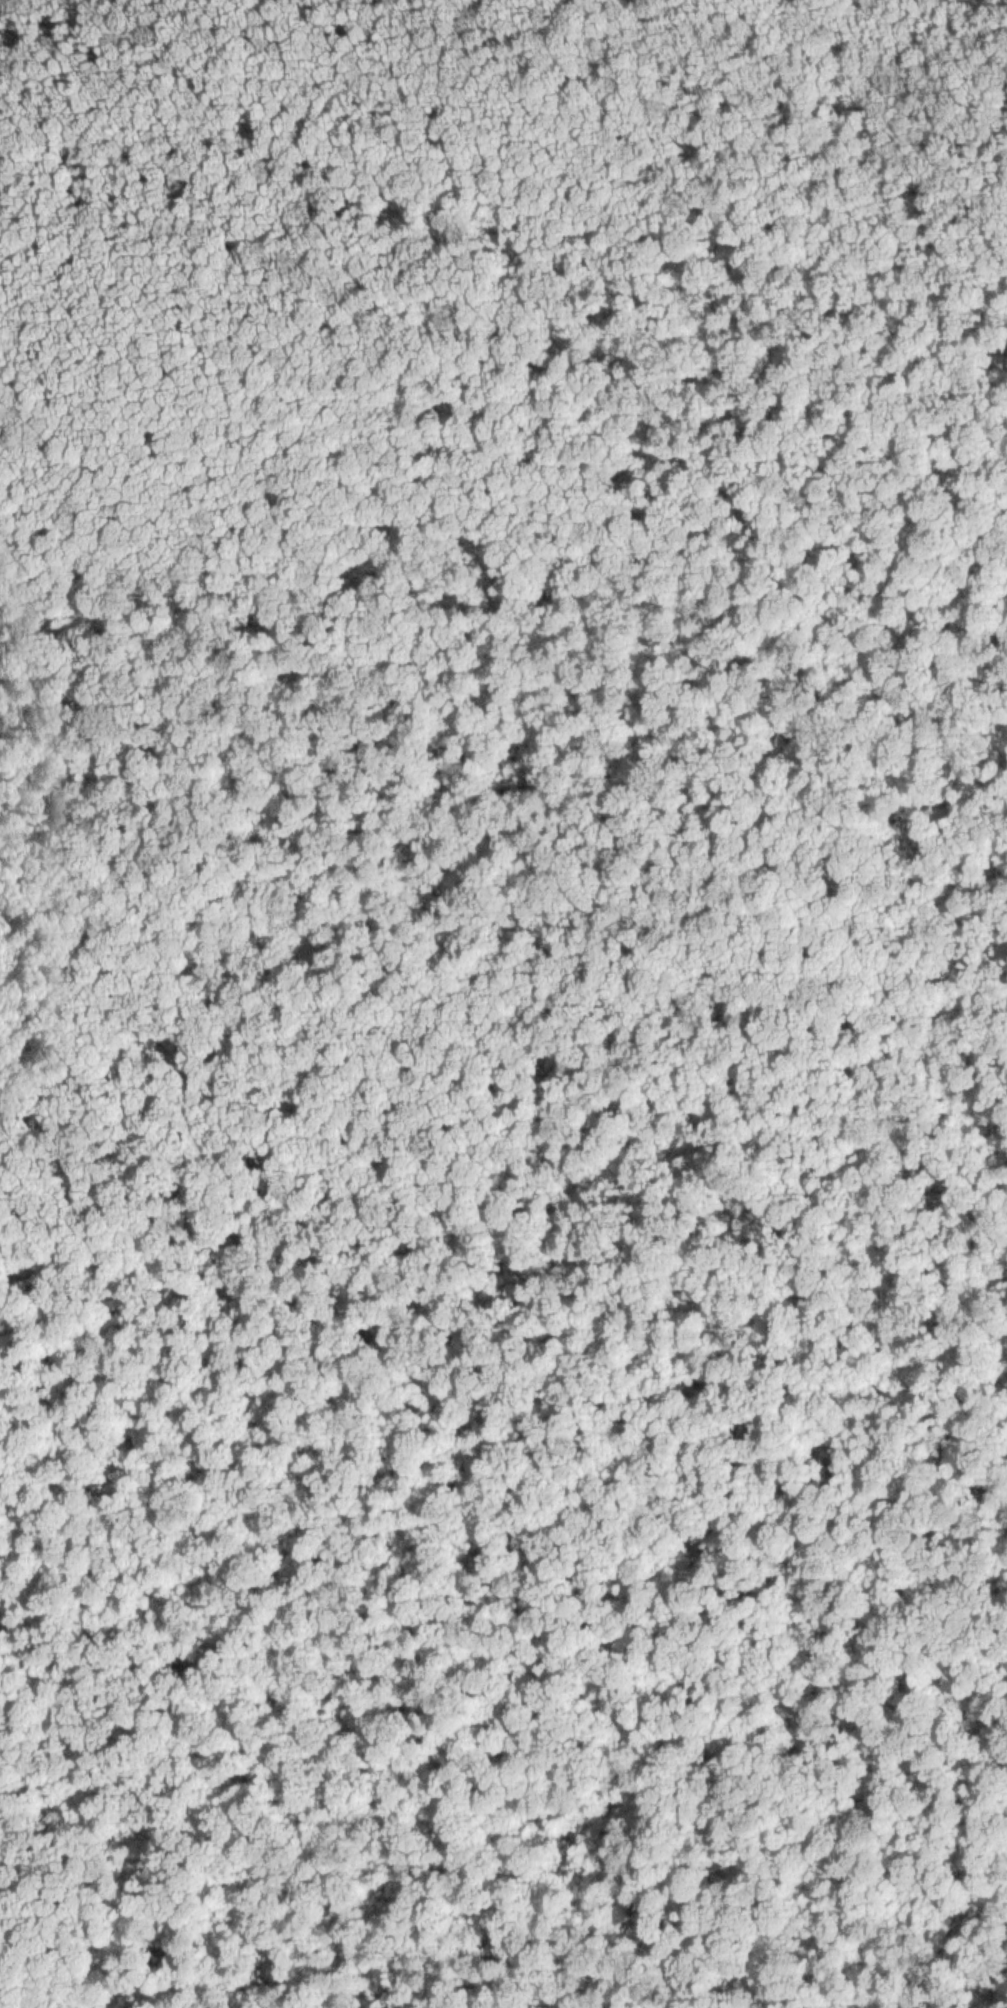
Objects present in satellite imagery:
road: (468, 1331)

